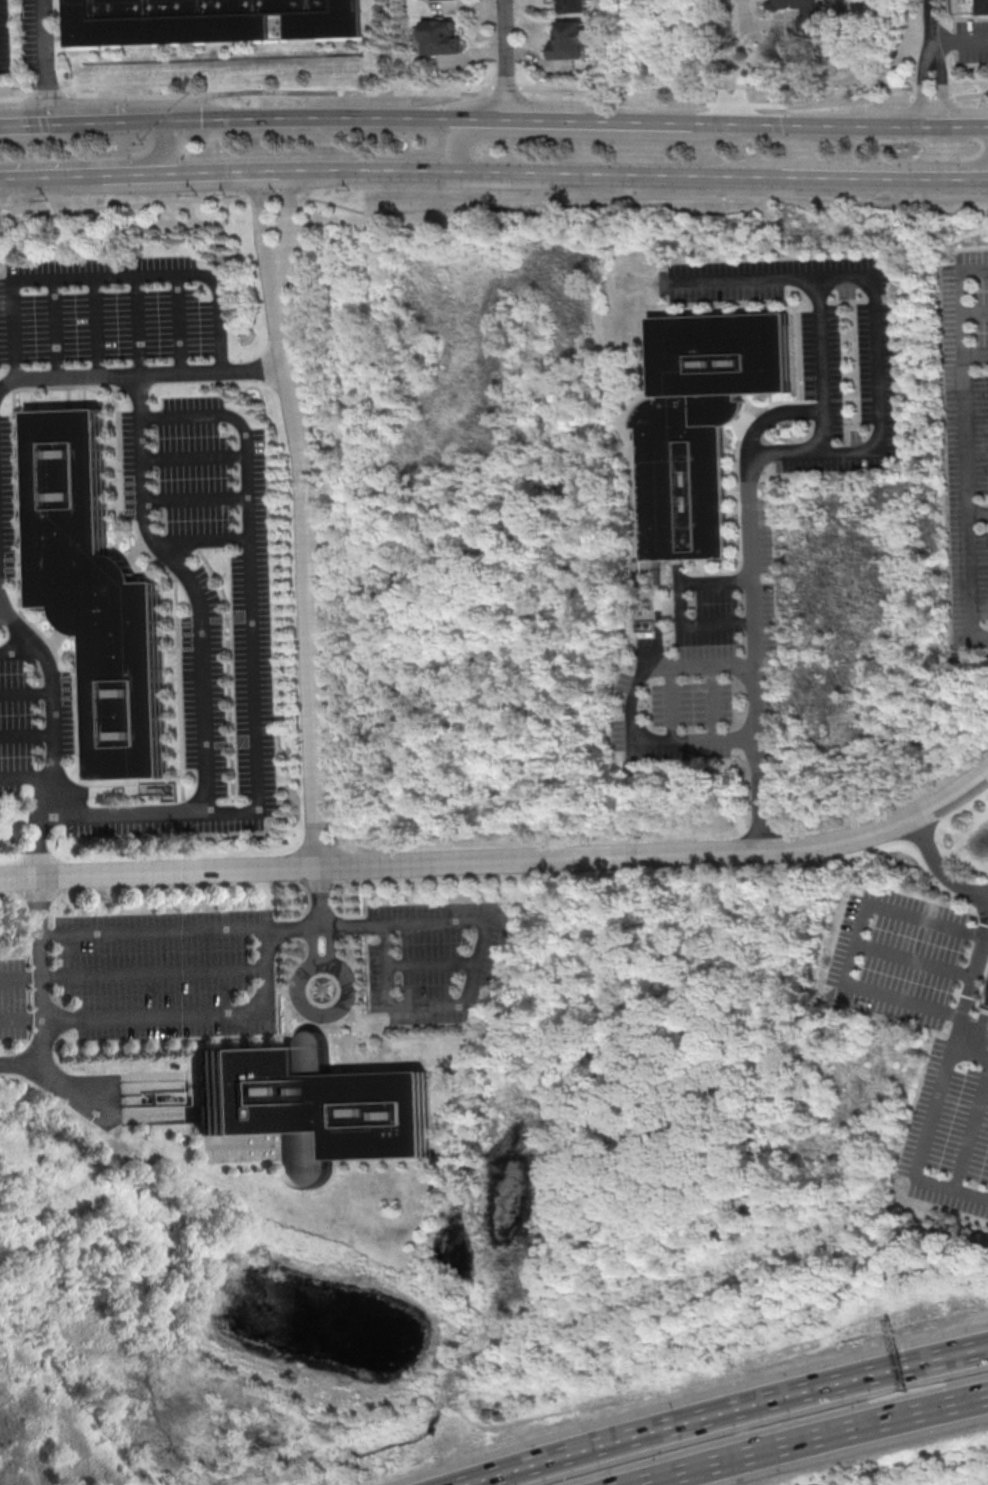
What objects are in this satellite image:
building: (574, 5)
building: (983, 7)
building: (807, 14)
building: (208, 21)
road: (931, 21)
parking lot: (36, 33)
building: (440, 36)
parking lot: (3, 38)
building: (569, 40)
road: (960, 41)
parking lot: (971, 41)
road: (505, 58)
road: (720, 61)
road: (44, 62)
road: (922, 82)
road: (943, 82)
road: (494, 86)
road: (543, 117)
road: (335, 119)
road: (635, 120)
traffic signals: (164, 121)
road: (105, 122)
road: (806, 122)
road: (954, 123)
road: (23, 124)
road: (461, 138)
road: (161, 153)
road: (197, 171)
road: (522, 171)
road: (980, 171)
road: (66, 175)
road: (878, 176)
road: (980, 176)
road: (491, 206)
road: (263, 219)
road: (291, 220)
road: (107, 275)
road: (973, 311)
road: (875, 321)
road: (177, 322)
road: (93, 325)
road: (51, 327)
road: (135, 345)
road: (974, 353)
road: (141, 373)
building: (705, 423)
road: (823, 431)
road: (963, 443)
road: (192, 456)
road: (194, 498)
road: (977, 512)
parking lot: (151, 530)
road: (747, 533)
road: (202, 539)
road: (306, 565)
building: (91, 589)
road: (680, 602)
road: (198, 604)
road: (20, 651)
road: (253, 670)
road: (26, 693)
road: (715, 703)
road: (672, 704)
road: (630, 705)
road: (27, 735)
road: (27, 776)
road: (503, 859)
road: (38, 861)
road: (939, 867)
road: (319, 889)
road: (174, 930)
road: (330, 937)
road: (311, 938)
road: (853, 940)
road: (912, 957)
road: (476, 958)
parking lot: (432, 959)
road: (430, 963)
road: (322, 965)
parking lot: (169, 972)
road: (154, 973)
road: (20, 978)
road: (968, 983)
road: (195, 1013)
road: (21, 1021)
road: (21, 1060)
building: (314, 1105)
road: (969, 1125)
road: (925, 1130)
road: (955, 1355)
road: (692, 1420)
road: (812, 1438)

